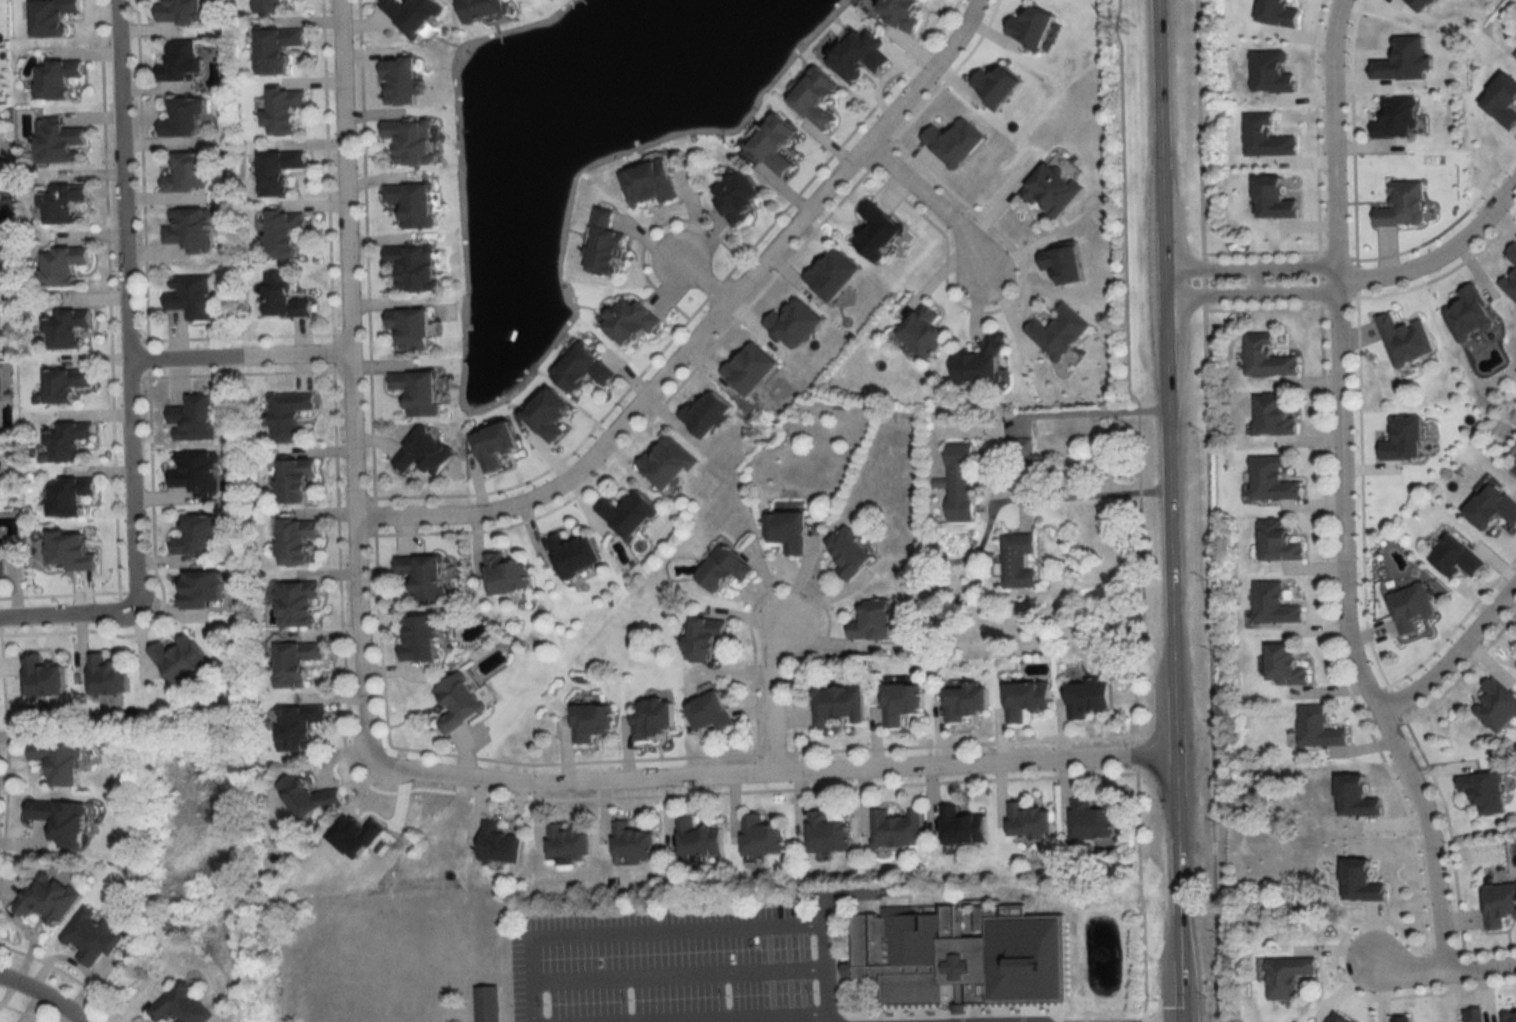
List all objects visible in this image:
building: (271, 5)
building: (484, 8)
building: (181, 11)
building: (415, 13)
building: (902, 14)
building: (54, 16)
power tower: (1126, 29)
building: (277, 49)
building: (1515, 56)
building: (183, 61)
building: (58, 78)
building: (403, 78)
building: (817, 97)
building: (285, 109)
building: (185, 117)
building: (412, 140)
road: (1335, 140)
building: (58, 143)
building: (775, 143)
building: (279, 170)
building: (189, 173)
road: (124, 181)
building: (650, 182)
building: (1054, 187)
building: (739, 196)
building: (413, 202)
building: (62, 203)
road: (932, 203)
building: (1403, 204)
building: (189, 227)
building: (879, 229)
building: (286, 233)
building: (605, 244)
building: (1512, 253)
road: (1439, 257)
building: (414, 265)
building: (62, 266)
road: (1254, 270)
building: (836, 272)
road: (703, 283)
building: (1511, 283)
building: (190, 295)
building: (283, 296)
road: (1253, 296)
building: (1471, 313)
building: (632, 320)
building: (412, 326)
building: (66, 327)
road: (708, 329)
building: (925, 330)
building: (1060, 331)
building: (1406, 340)
building: (1268, 356)
road: (240, 360)
building: (982, 362)
building: (753, 368)
building: (584, 369)
road: (351, 380)
building: (66, 383)
building: (419, 390)
building: (1276, 413)
building: (709, 414)
road: (1095, 414)
building: (290, 417)
building: (194, 419)
power tower: (774, 434)
building: (69, 440)
building: (424, 453)
building: (670, 463)
building: (1514, 468)
building: (1036, 471)
building: (196, 472)
building: (1272, 479)
building: (296, 480)
building: (961, 483)
road: (132, 484)
building: (71, 495)
road: (1035, 499)
road: (1170, 510)
building: (631, 514)
building: (788, 530)
building: (197, 534)
building: (298, 541)
building: (1279, 541)
building: (73, 550)
building: (852, 552)
building: (1, 555)
building: (575, 555)
building: (1458, 557)
building: (1019, 560)
building: (726, 568)
building: (424, 574)
building: (507, 574)
building: (203, 588)
building: (298, 603)
building: (1275, 604)
road: (66, 620)
building: (876, 621)
road: (1349, 636)
building: (707, 637)
building: (422, 639)
building: (181, 659)
road: (1455, 659)
building: (296, 661)
building: (1288, 665)
building: (108, 675)
building: (44, 676)
building: (1090, 697)
building: (1028, 698)
road: (776, 700)
building: (967, 701)
building: (461, 702)
building: (902, 702)
building: (838, 705)
building: (1497, 705)
building: (712, 712)
building: (655, 719)
building: (592, 721)
building: (299, 725)
building: (1319, 727)
building: (60, 761)
road: (773, 778)
building: (1485, 791)
building: (309, 796)
building: (62, 820)
building: (1032, 820)
building: (1093, 821)
building: (1339, 821)
building: (964, 826)
building: (899, 828)
building: (830, 834)
building: (764, 837)
building: (701, 839)
building: (572, 841)
building: (635, 841)
building: (502, 843)
power tower: (412, 845)
building: (1274, 859)
building: (48, 898)
building: (1500, 904)
road: (685, 928)
building: (91, 936)
building: (962, 954)
road: (1438, 973)
road: (678, 974)
building: (1288, 976)
road: (40, 997)
building: (488, 1004)
building: (180, 1007)
building: (1475, 1015)
building: (1510, 1016)
road: (713, 1017)
building: (1402, 1019)

